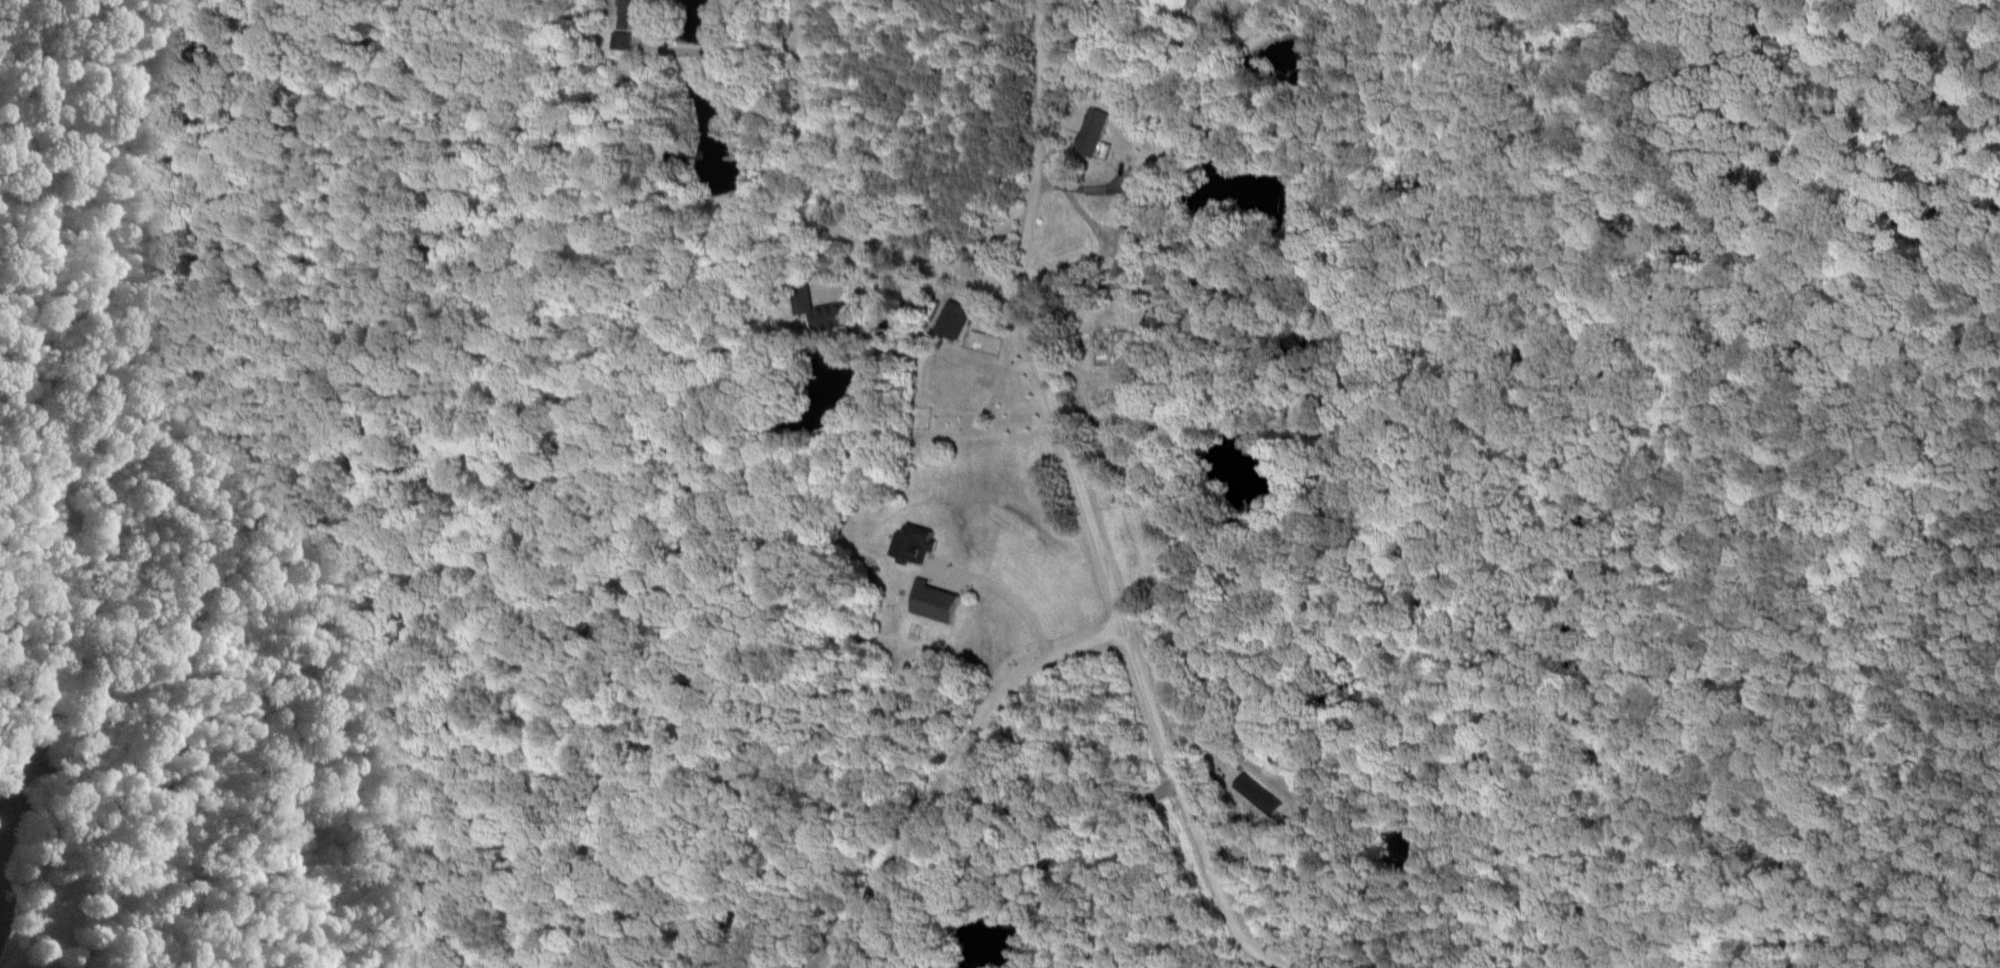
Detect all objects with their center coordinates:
building: (627, 12)
building: (619, 41)
road: (730, 49)
building: (1091, 132)
building: (1127, 243)
road: (978, 272)
road: (1151, 280)
building: (823, 314)
building: (951, 319)
road: (1793, 348)
road: (1073, 470)
building: (909, 543)
road: (1001, 591)
building: (931, 601)
road: (959, 776)
building: (1257, 795)
road: (1186, 810)
road: (1121, 866)
road: (1971, 875)
road: (1629, 932)
building: (17, 967)

